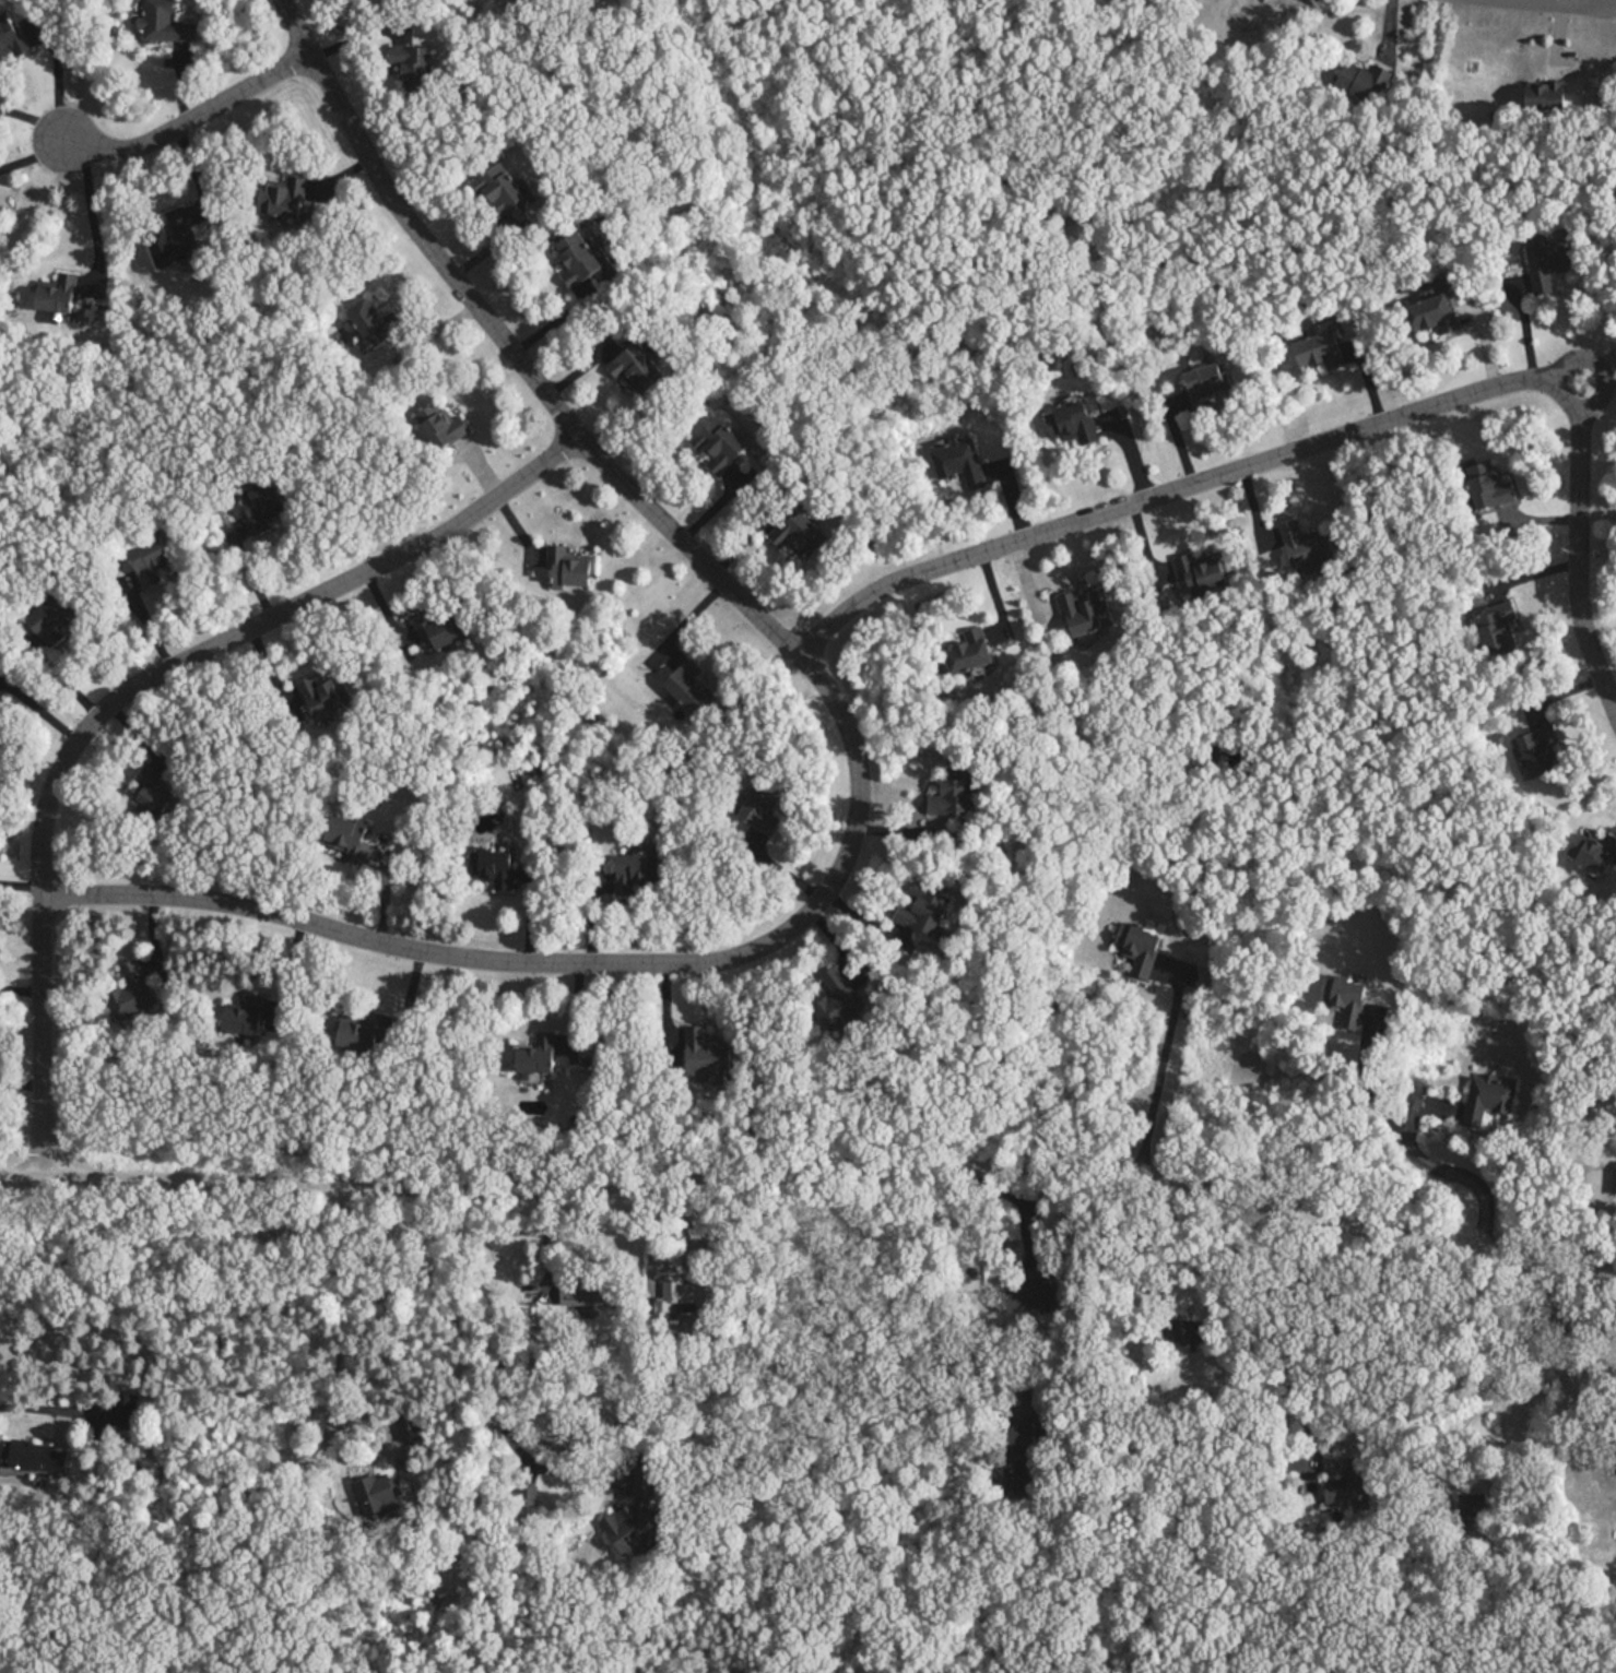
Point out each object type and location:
road: (1546, 4)
building: (163, 17)
building: (13, 29)
building: (412, 66)
road: (57, 78)
building: (1363, 80)
road: (180, 83)
building: (1542, 94)
road: (35, 114)
road: (190, 119)
road: (31, 150)
road: (194, 167)
road: (341, 173)
building: (283, 189)
building: (497, 190)
road: (92, 213)
building: (170, 232)
building: (578, 259)
building: (1547, 262)
building: (57, 288)
building: (1434, 316)
building: (373, 321)
building: (1319, 352)
road: (1596, 366)
building: (637, 369)
road: (1609, 370)
building: (1204, 384)
building: (1071, 424)
building: (440, 428)
road: (1336, 436)
building: (718, 446)
building: (957, 463)
building: (1488, 486)
building: (261, 506)
building: (1301, 539)
building: (150, 561)
building: (569, 567)
building: (1199, 574)
building: (1085, 610)
building: (52, 617)
building: (439, 627)
building: (1494, 628)
building: (969, 652)
building: (687, 687)
road: (127, 692)
building: (323, 693)
building: (1538, 750)
road: (858, 755)
building: (153, 791)
building: (952, 791)
building: (760, 811)
building: (346, 838)
building: (1594, 852)
building: (492, 868)
building: (637, 870)
road: (22, 883)
building: (924, 910)
building: (1136, 947)
building: (132, 993)
building: (1344, 995)
building: (836, 998)
building: (245, 1016)
building: (362, 1032)
building: (536, 1055)
building: (705, 1056)
road: (1159, 1080)
building: (1488, 1099)
road: (813, 1165)
road: (1437, 1168)
building: (1611, 1182)
road: (1175, 1256)
building: (1034, 1286)
building: (603, 1290)
building: (689, 1293)
road: (495, 1319)
building: (1180, 1331)
road: (846, 1365)
road: (1609, 1393)
road: (331, 1402)
road: (34, 1409)
building: (126, 1412)
building: (406, 1425)
building: (1016, 1456)
building: (34, 1458)
building: (1356, 1473)
building: (376, 1495)
building: (634, 1524)

